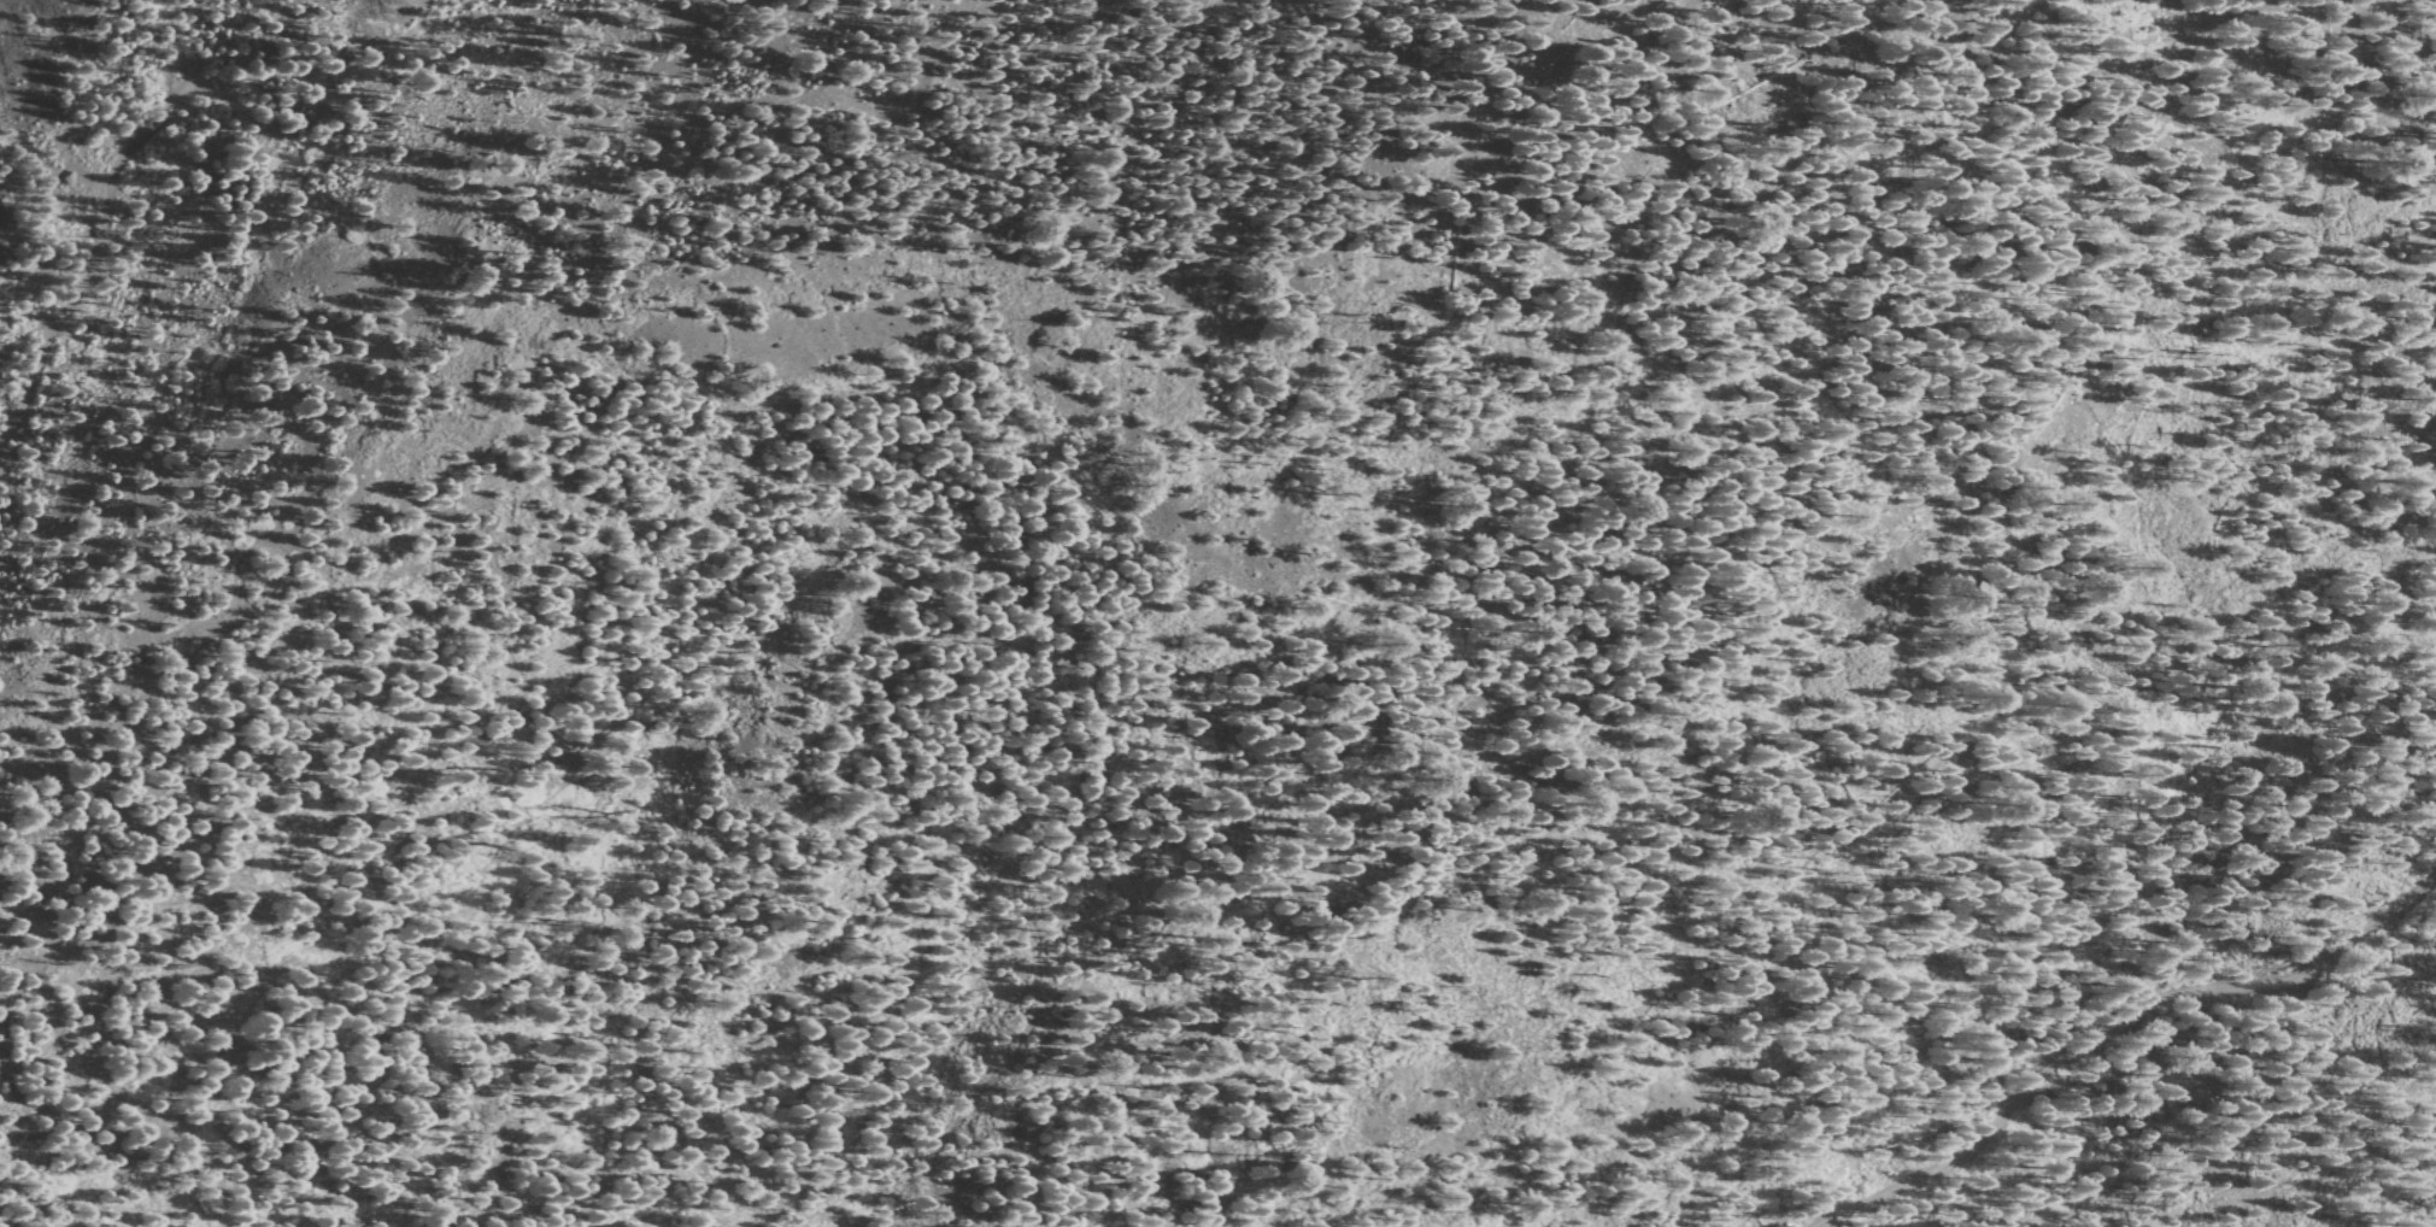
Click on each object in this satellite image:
road: (2101, 1004)

